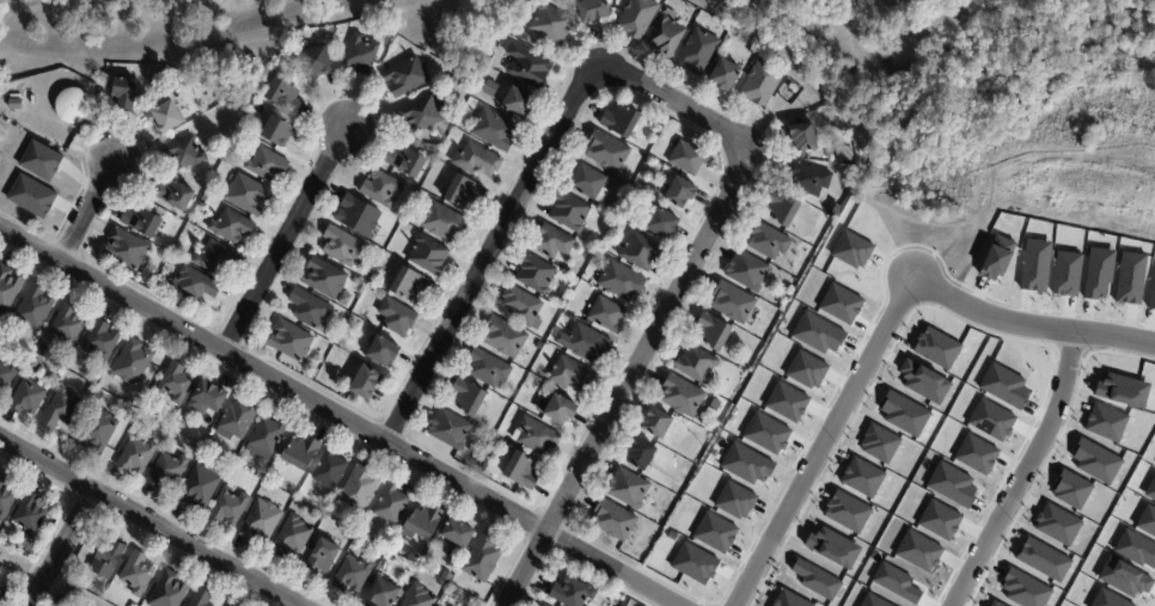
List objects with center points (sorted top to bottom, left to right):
building: (593, 10)
building: (637, 17)
building: (551, 23)
building: (727, 26)
building: (666, 36)
building: (756, 48)
building: (698, 51)
building: (361, 54)
building: (316, 61)
building: (527, 65)
building: (725, 74)
building: (407, 75)
building: (762, 82)
building: (792, 87)
building: (490, 88)
building: (123, 92)
building: (282, 94)
building: (518, 100)
building: (14, 104)
building: (72, 105)
storage tank: (72, 105)
building: (421, 114)
building: (165, 118)
building: (621, 121)
building: (276, 129)
building: (494, 130)
building: (805, 136)
building: (201, 143)
building: (183, 152)
building: (607, 152)
building: (689, 157)
building: (477, 159)
building: (39, 160)
building: (407, 161)
building: (267, 165)
road: (534, 178)
building: (809, 180)
building: (589, 183)
building: (381, 189)
building: (680, 191)
building: (464, 192)
building: (636, 192)
building: (175, 194)
building: (247, 195)
building: (31, 196)
building: (204, 198)
building: (782, 206)
building: (569, 212)
road: (85, 213)
building: (357, 215)
building: (142, 221)
building: (662, 221)
building: (444, 222)
building: (231, 226)
road: (286, 240)
building: (551, 240)
building: (768, 240)
building: (344, 246)
building: (126, 249)
building: (850, 250)
building: (640, 251)
building: (428, 255)
building: (213, 257)
building: (996, 258)
building: (1034, 265)
building: (747, 271)
building: (1098, 273)
building: (536, 274)
building: (1065, 274)
building: (367, 276)
building: (324, 277)
building: (1129, 278)
building: (355, 281)
building: (621, 281)
building: (409, 283)
building: (196, 284)
building: (7, 288)
building: (375, 292)
building: (1151, 295)
building: (344, 299)
building: (733, 302)
building: (839, 304)
building: (522, 306)
building: (35, 307)
building: (310, 310)
building: (346, 316)
building: (606, 316)
building: (397, 317)
building: (567, 319)
building: (68, 324)
road: (1028, 325)
building: (713, 331)
building: (817, 332)
building: (505, 337)
building: (100, 339)
building: (289, 341)
building: (585, 343)
building: (935, 348)
building: (381, 350)
building: (33, 362)
building: (133, 362)
building: (697, 365)
building: (488, 368)
building: (805, 371)
building: (572, 373)
building: (7, 374)
road: (628, 379)
building: (365, 381)
building: (923, 381)
building: (176, 382)
building: (1003, 385)
building: (1122, 390)
building: (90, 391)
building: (208, 394)
building: (99, 396)
building: (683, 396)
building: (467, 397)
building: (27, 398)
building: (786, 402)
building: (715, 404)
building: (61, 408)
building: (560, 409)
building: (903, 412)
road: (337, 418)
building: (236, 420)
building: (991, 420)
building: (1105, 422)
building: (658, 423)
building: (450, 430)
building: (97, 431)
building: (766, 433)
building: (268, 436)
building: (537, 436)
building: (490, 437)
road: (823, 441)
building: (879, 442)
building: (300, 453)
building: (641, 453)
building: (974, 454)
building: (136, 455)
building: (1095, 461)
building: (746, 464)
building: (482, 465)
building: (167, 470)
building: (330, 470)
building: (521, 471)
road: (1023, 472)
building: (283, 473)
building: (861, 477)
building: (951, 484)
building: (200, 488)
building: (628, 488)
building: (359, 489)
building: (1070, 489)
building: (1150, 489)
building: (5, 497)
building: (734, 500)
building: (391, 506)
building: (228, 507)
building: (847, 512)
building: (30, 515)
building: (939, 520)
building: (615, 521)
building: (1147, 521)
building: (261, 522)
building: (424, 522)
road: (149, 524)
building: (1056, 524)
building: (361, 531)
building: (714, 532)
building: (457, 534)
building: (292, 537)
building: (832, 547)
road: (60, 549)
building: (1136, 549)
building: (917, 551)
building: (320, 557)
building: (105, 559)
building: (482, 559)
building: (1043, 559)
building: (693, 563)
building: (0, 567)
building: (0, 569)
building: (136, 574)
building: (353, 575)
building: (447, 577)
building: (1123, 577)
building: (71, 579)
building: (815, 580)
road: (44, 581)
building: (896, 582)
building: (1023, 589)
building: (169, 590)
building: (456, 592)
building: (381, 593)
building: (573, 593)
building: (1, 594)
building: (418, 596)
building: (201, 598)
building: (1107, 599)
building: (788, 600)
building: (872, 601)
building: (63, 602)
building: (4, 604)
building: (995, 604)
building: (228, 605)
building: (232, 605)
building: (435, 605)
building: (540, 605)
building: (544, 605)

